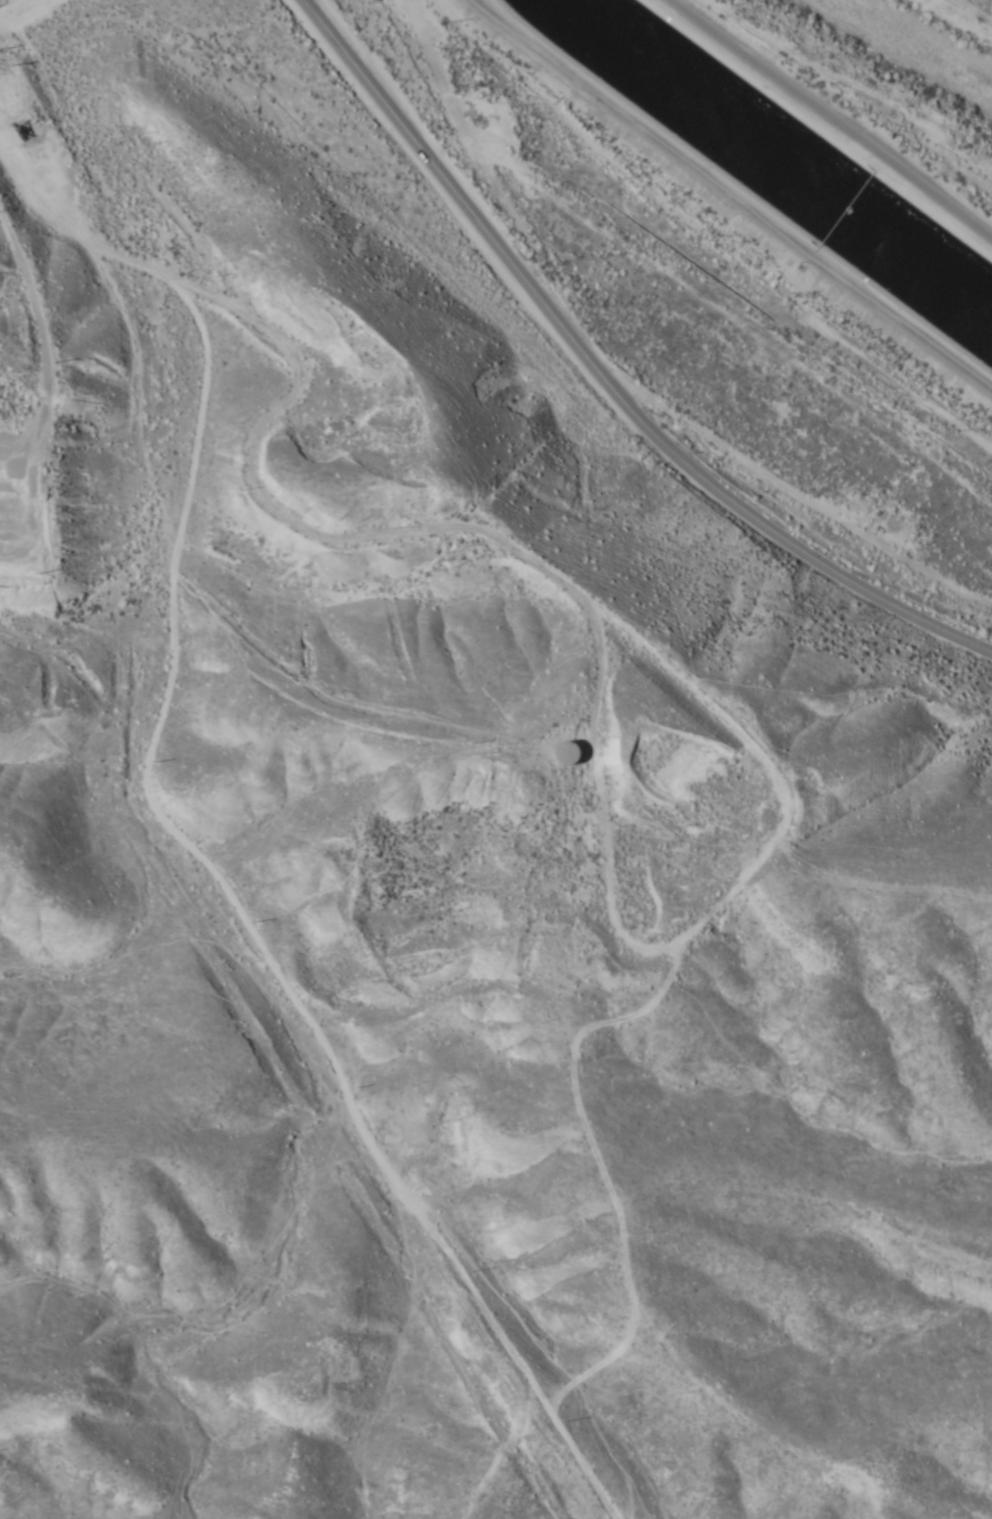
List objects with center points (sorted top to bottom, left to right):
road: (34, 12)
road: (836, 112)
road: (727, 206)
road: (604, 373)
road: (1, 438)
road: (435, 525)
building: (568, 753)
road: (206, 790)
road: (626, 931)

